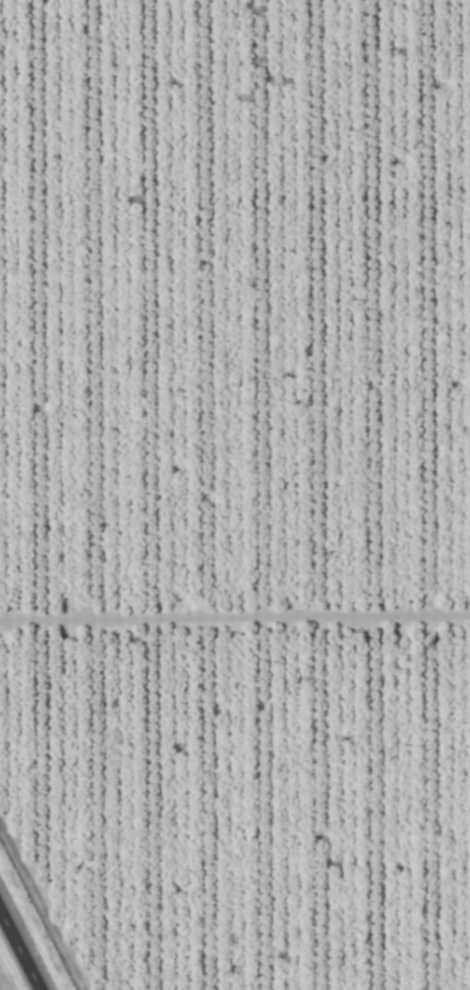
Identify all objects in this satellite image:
road: (19, 951)

